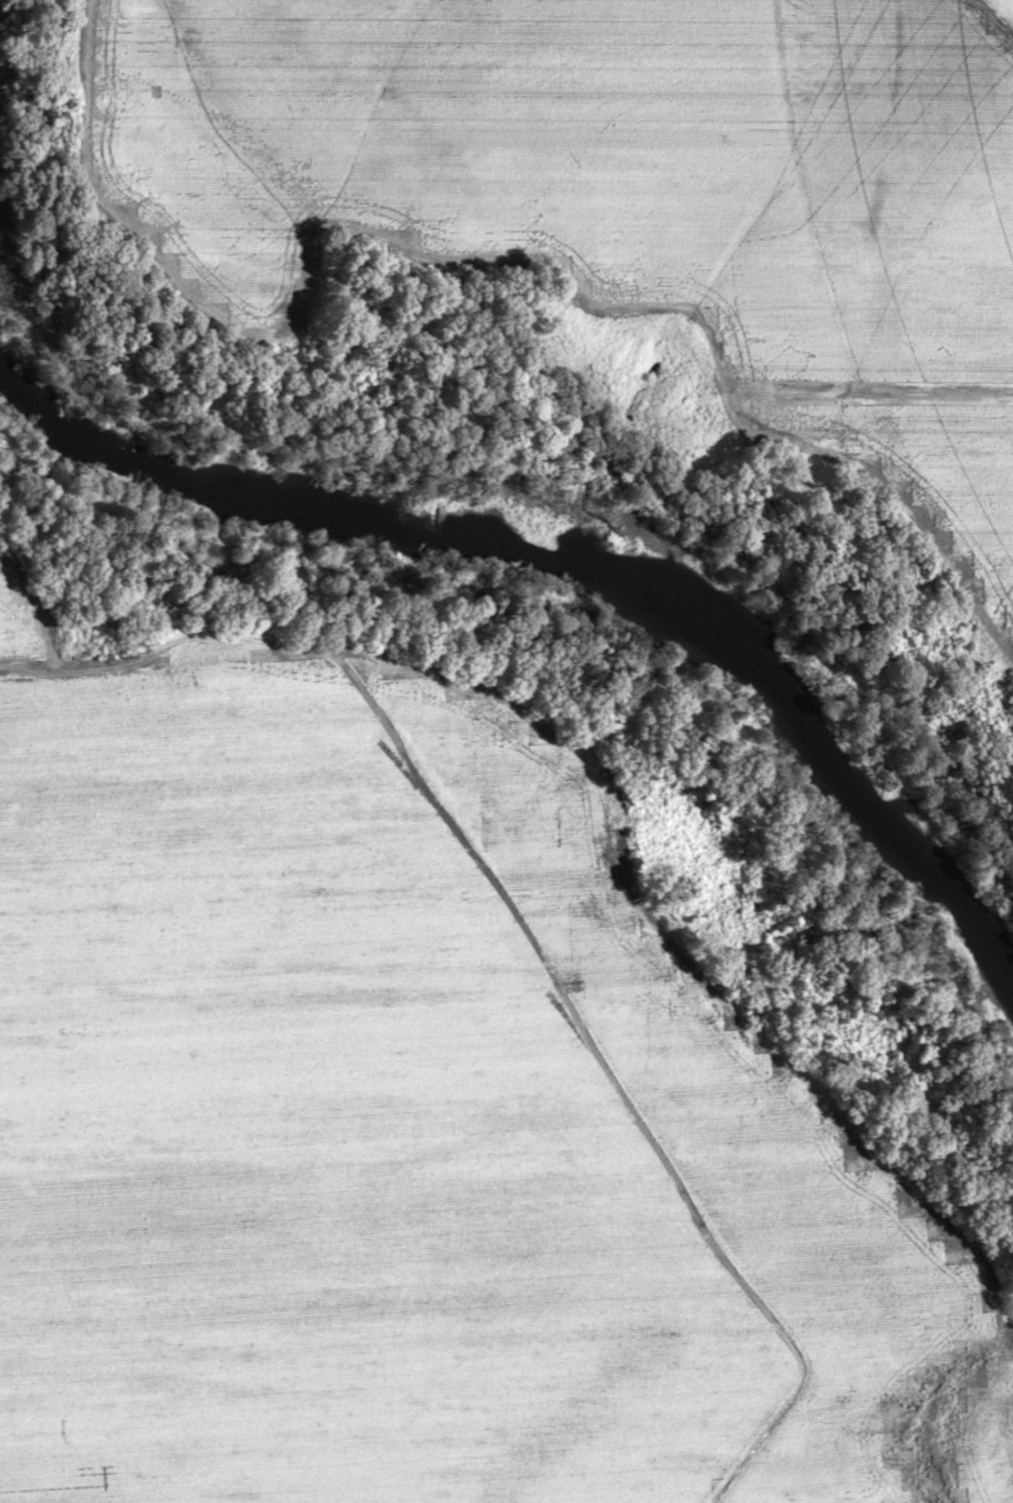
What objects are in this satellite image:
road: (993, 33)
river: (590, 570)
road: (622, 801)

